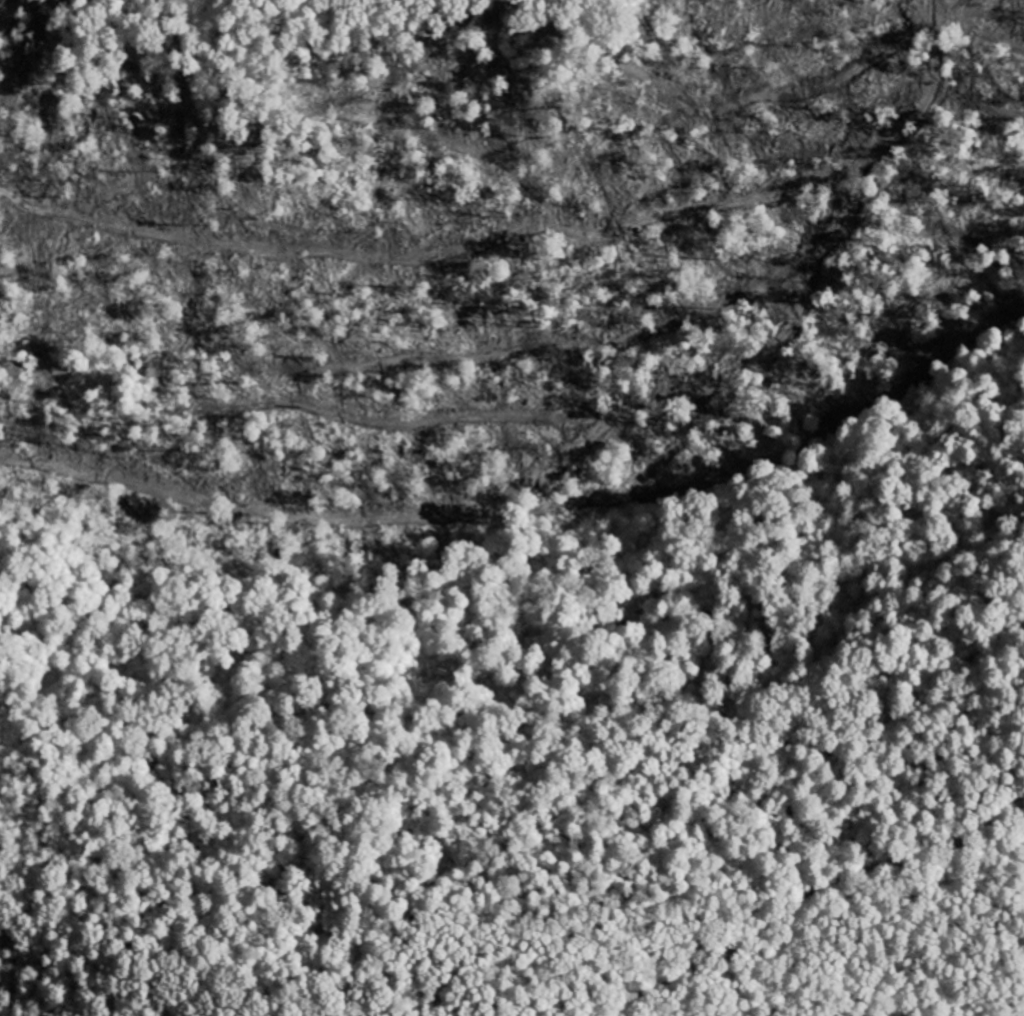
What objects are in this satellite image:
road: (813, 894)

